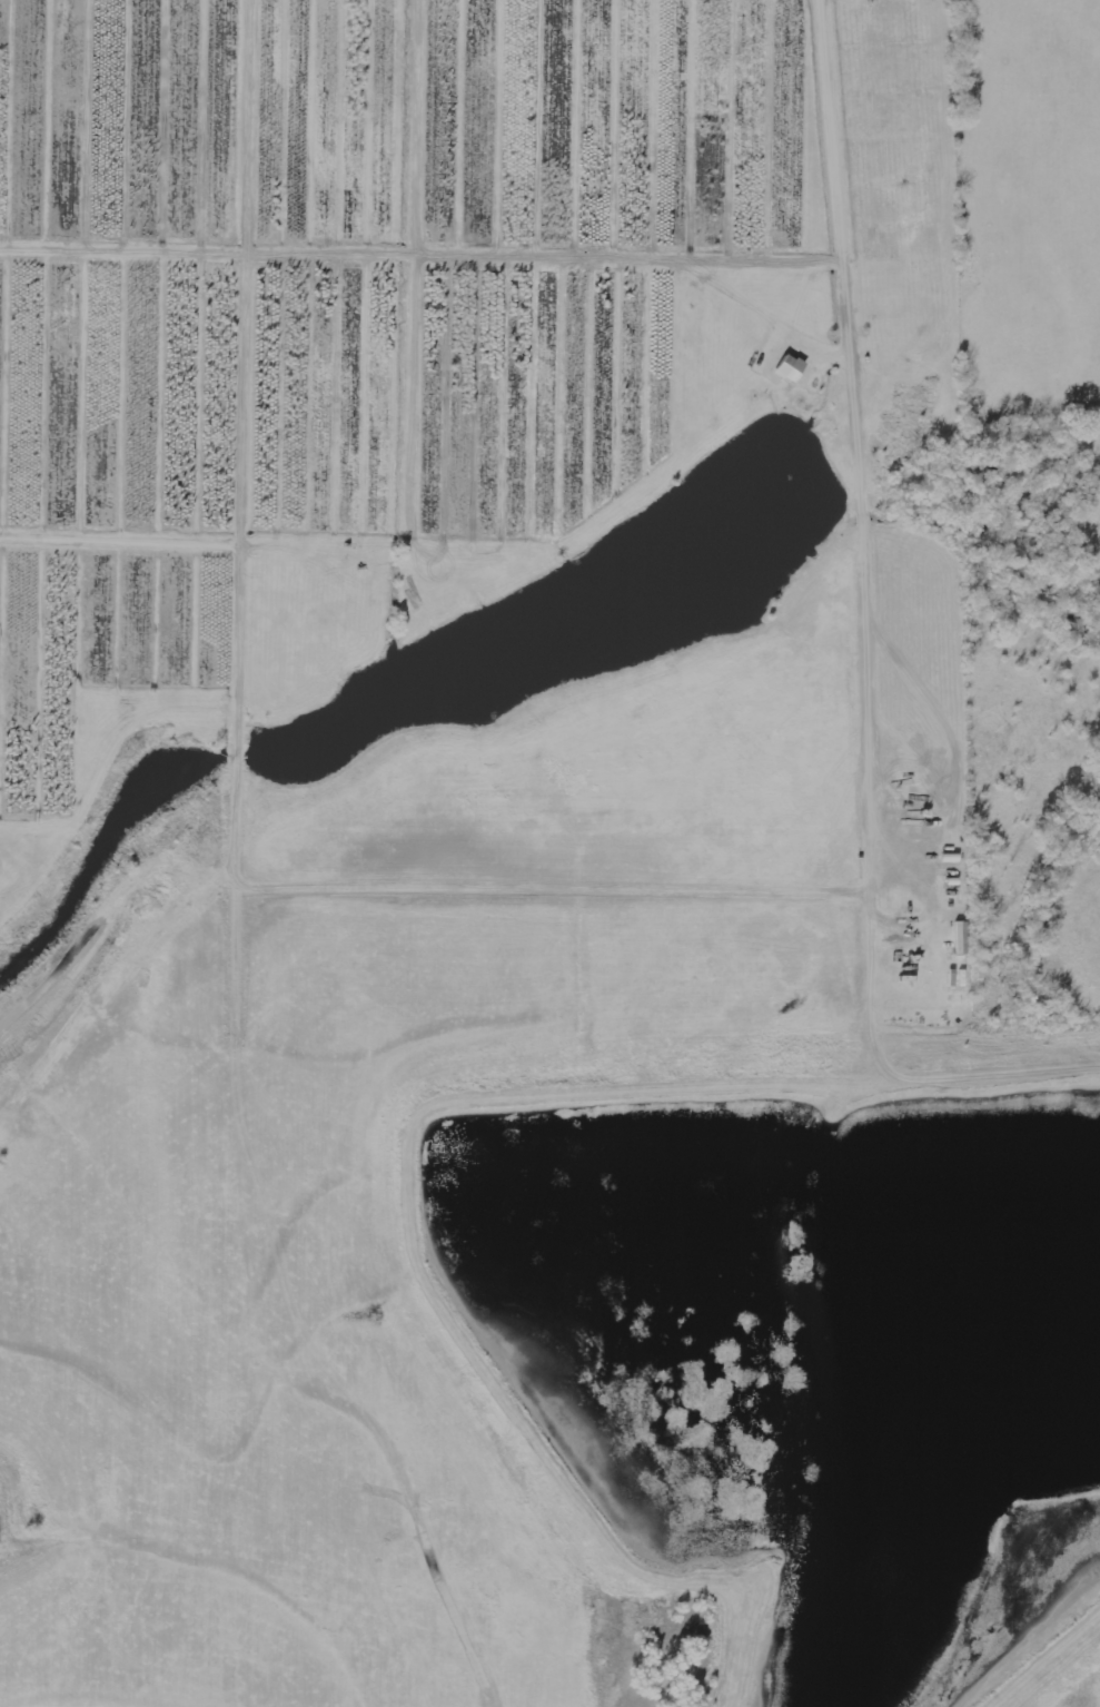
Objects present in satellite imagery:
building: (795, 369)
building: (960, 938)

